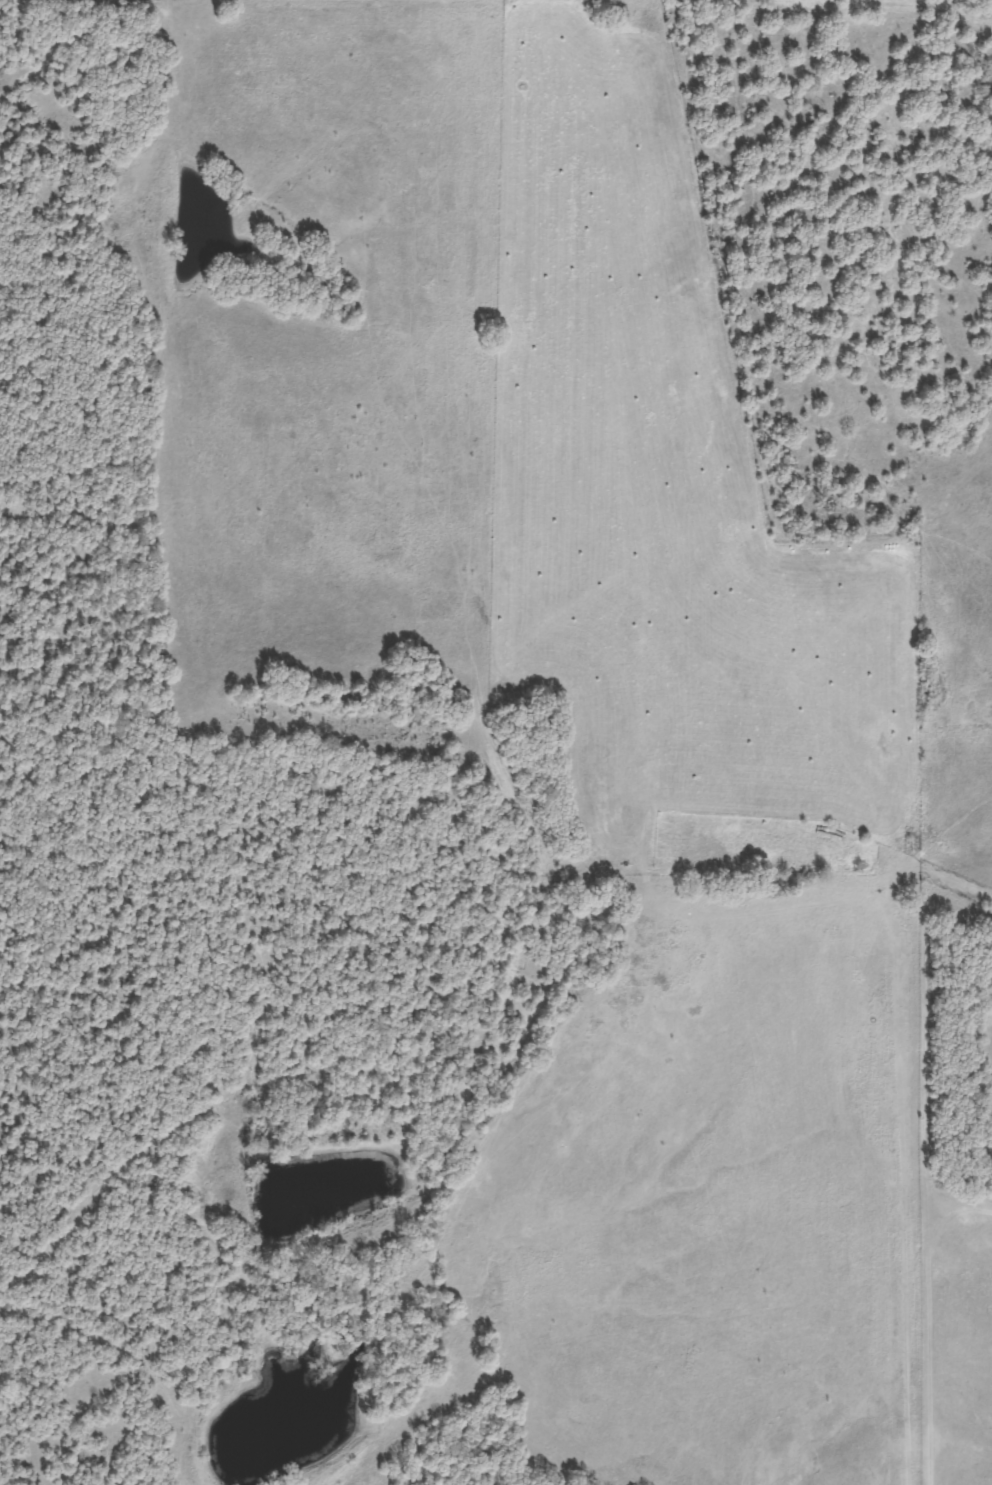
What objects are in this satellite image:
road: (485, 1036)

